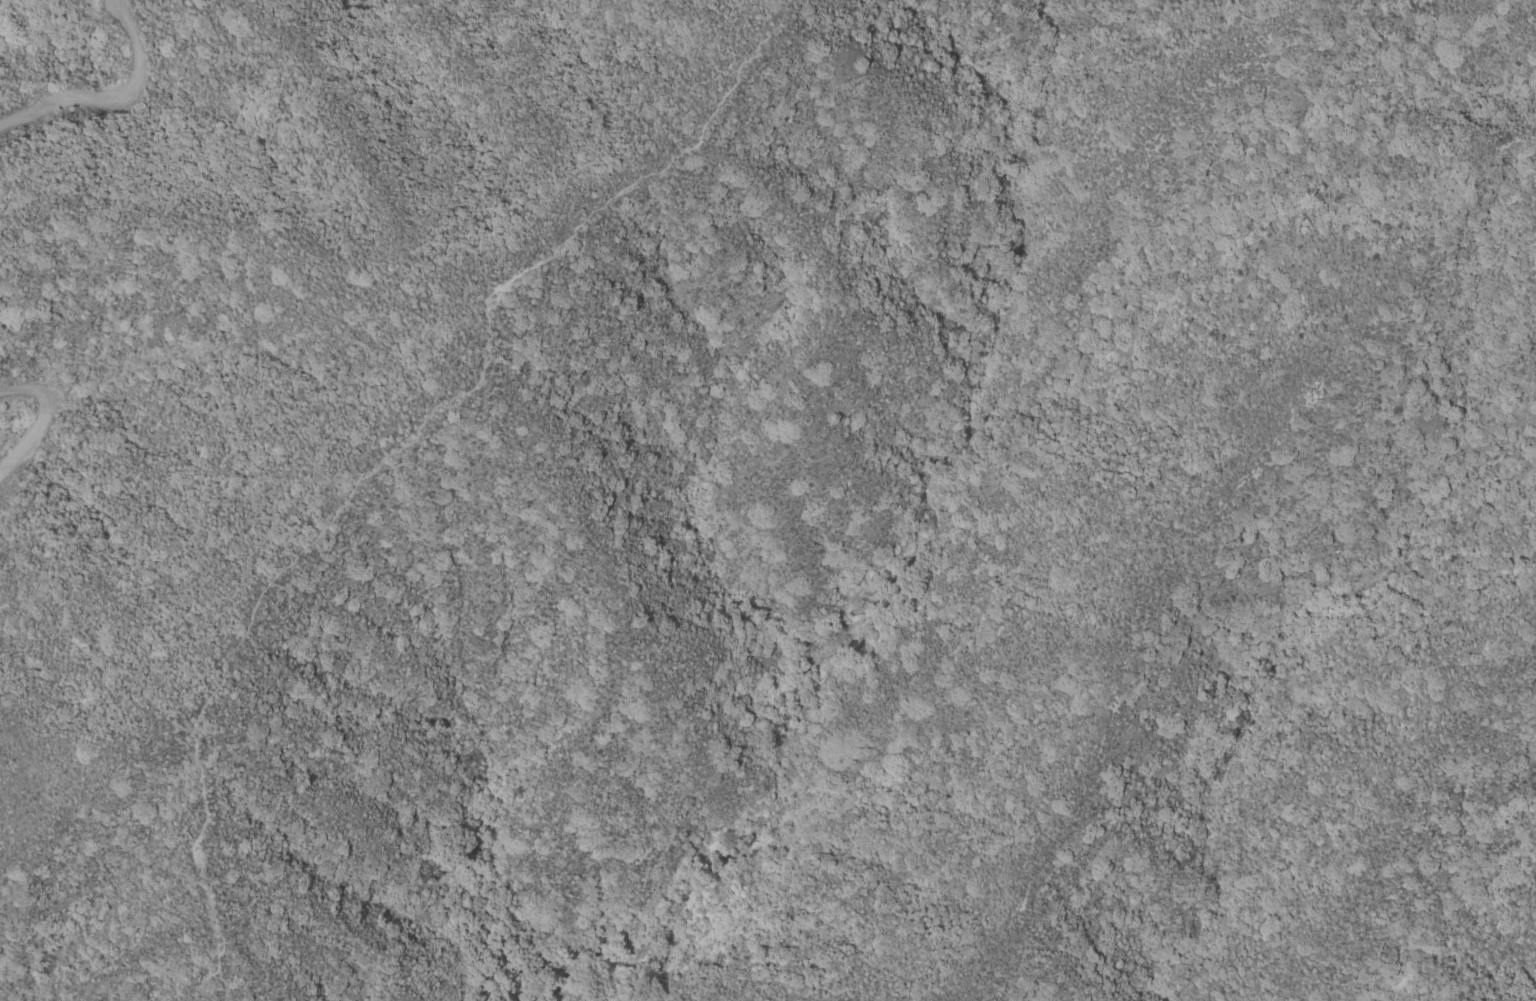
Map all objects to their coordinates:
road: (112, 98)
road: (42, 416)
road: (399, 448)

